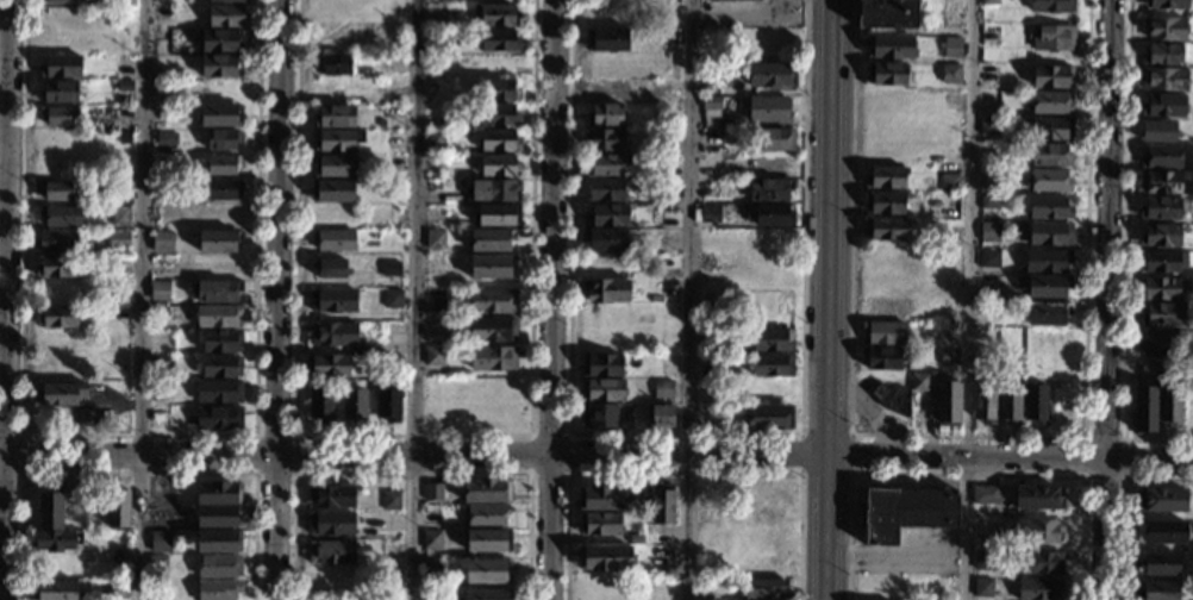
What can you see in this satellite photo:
building: (62, 0)
building: (227, 0)
building: (743, 0)
building: (991, 2)
building: (1164, 5)
building: (1053, 6)
building: (437, 14)
building: (495, 14)
building: (610, 14)
building: (886, 14)
building: (227, 15)
building: (670, 15)
road: (744, 18)
building: (1164, 29)
building: (1053, 38)
building: (499, 40)
building: (607, 40)
building: (221, 42)
building: (888, 46)
building: (951, 48)
building: (1162, 55)
building: (123, 64)
building: (335, 64)
building: (61, 67)
building: (220, 67)
building: (887, 74)
building: (950, 74)
building: (772, 75)
building: (1051, 76)
building: (1163, 80)
building: (124, 86)
building: (499, 90)
building: (58, 92)
building: (220, 92)
building: (335, 92)
building: (1050, 102)
building: (1163, 105)
building: (711, 107)
building: (768, 110)
building: (119, 112)
building: (58, 115)
building: (220, 115)
building: (499, 115)
building: (605, 115)
building: (335, 117)
building: (381, 124)
building: (987, 126)
building: (1051, 129)
building: (1163, 132)
building: (165, 137)
building: (220, 139)
building: (338, 139)
building: (435, 139)
building: (604, 139)
building: (773, 139)
building: (499, 140)
building: (1050, 155)
building: (1161, 157)
building: (223, 164)
building: (772, 164)
building: (335, 165)
building: (499, 165)
building: (607, 165)
building: (885, 177)
building: (987, 179)
road: (829, 180)
building: (1049, 181)
road: (4, 182)
building: (949, 182)
building: (1161, 182)
building: (708, 188)
building: (121, 189)
building: (605, 189)
building: (769, 189)
building: (61, 190)
building: (223, 190)
building: (332, 190)
building: (494, 190)
building: (886, 202)
building: (952, 204)
building: (988, 204)
building: (1049, 207)
building: (1160, 208)
building: (435, 214)
building: (710, 214)
building: (769, 214)
building: (952, 214)
building: (60, 215)
building: (120, 215)
building: (498, 215)
building: (607, 215)
building: (885, 229)
building: (988, 232)
building: (1050, 233)
building: (1160, 236)
building: (118, 238)
building: (433, 239)
building: (605, 239)
building: (219, 240)
building: (333, 240)
building: (491, 240)
building: (55, 242)
building: (162, 242)
road: (1126, 252)
building: (988, 258)
building: (1045, 260)
building: (1162, 261)
building: (57, 267)
building: (491, 267)
building: (330, 268)
building: (389, 268)
building: (1043, 286)
building: (1160, 288)
building: (158, 290)
building: (213, 290)
building: (606, 290)
road: (140, 299)
road: (277, 299)
building: (392, 299)
road: (688, 299)
road: (5, 300)
building: (332, 300)
road: (416, 300)
building: (492, 300)
road: (552, 300)
road: (968, 300)
road: (1107, 300)
building: (435, 301)
building: (1047, 313)
building: (1162, 314)
building: (218, 315)
building: (57, 317)
building: (492, 329)
building: (883, 332)
building: (333, 335)
building: (772, 340)
building: (221, 342)
building: (1161, 343)
building: (433, 356)
building: (949, 357)
building: (492, 358)
building: (882, 358)
building: (161, 364)
building: (393, 364)
building: (772, 364)
building: (326, 365)
building: (602, 365)
building: (221, 367)
building: (1148, 371)
building: (919, 382)
building: (662, 389)
building: (602, 390)
building: (218, 393)
building: (60, 394)
building: (893, 400)
building: (983, 402)
building: (1008, 402)
building: (354, 404)
building: (948, 404)
building: (1035, 404)
building: (1188, 404)
building: (320, 405)
building: (388, 405)
building: (1169, 406)
road: (827, 408)
building: (1143, 410)
building: (599, 415)
building: (706, 415)
building: (660, 417)
building: (85, 418)
building: (219, 418)
building: (768, 418)
road: (804, 431)
road: (970, 433)
road: (294, 435)
road: (411, 435)
road: (567, 435)
road: (683, 435)
road: (137, 436)
road: (1123, 437)
road: (413, 452)
road: (20, 454)
road: (1010, 458)
road: (685, 471)
road: (137, 473)
road: (412, 473)
road: (966, 473)
building: (486, 490)
building: (218, 493)
building: (432, 493)
building: (985, 495)
building: (330, 496)
building: (601, 498)
building: (1038, 498)
road: (826, 499)
building: (389, 500)
building: (1160, 500)
road: (1123, 502)
building: (662, 504)
building: (50, 508)
building: (118, 510)
building: (905, 512)
building: (218, 515)
building: (486, 515)
building: (330, 524)
building: (600, 524)
building: (1039, 531)
building: (1161, 532)
building: (431, 539)
building: (636, 539)
building: (56, 540)
building: (487, 540)
building: (158, 542)
building: (218, 542)
building: (330, 552)
parking lot: (916, 552)
road: (895, 556)
building: (605, 557)
building: (661, 561)
building: (982, 561)
building: (1039, 562)
building: (1157, 564)
building: (157, 565)
building: (219, 567)
building: (431, 569)
building: (487, 571)
road: (825, 571)
building: (982, 587)
building: (1037, 588)
building: (218, 589)
building: (763, 589)
building: (54, 590)
building: (118, 590)
building: (1156, 590)
building: (487, 594)

